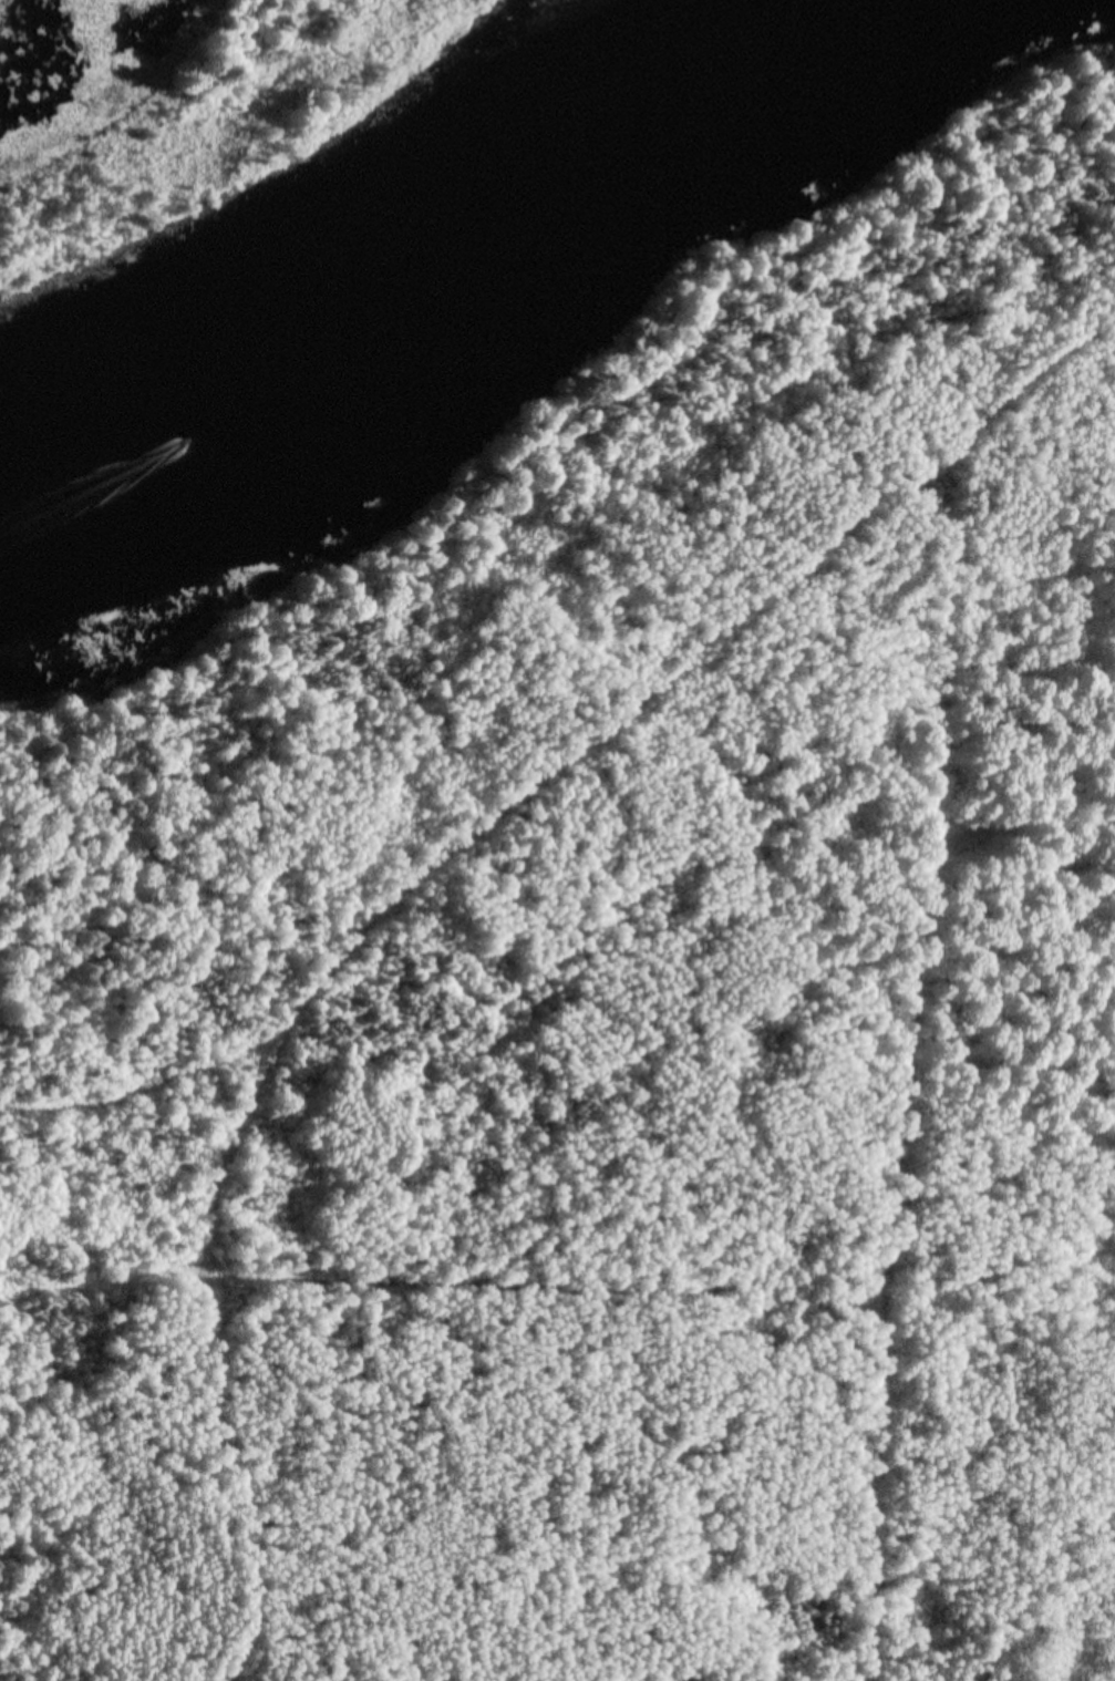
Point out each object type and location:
river: (407, 265)

